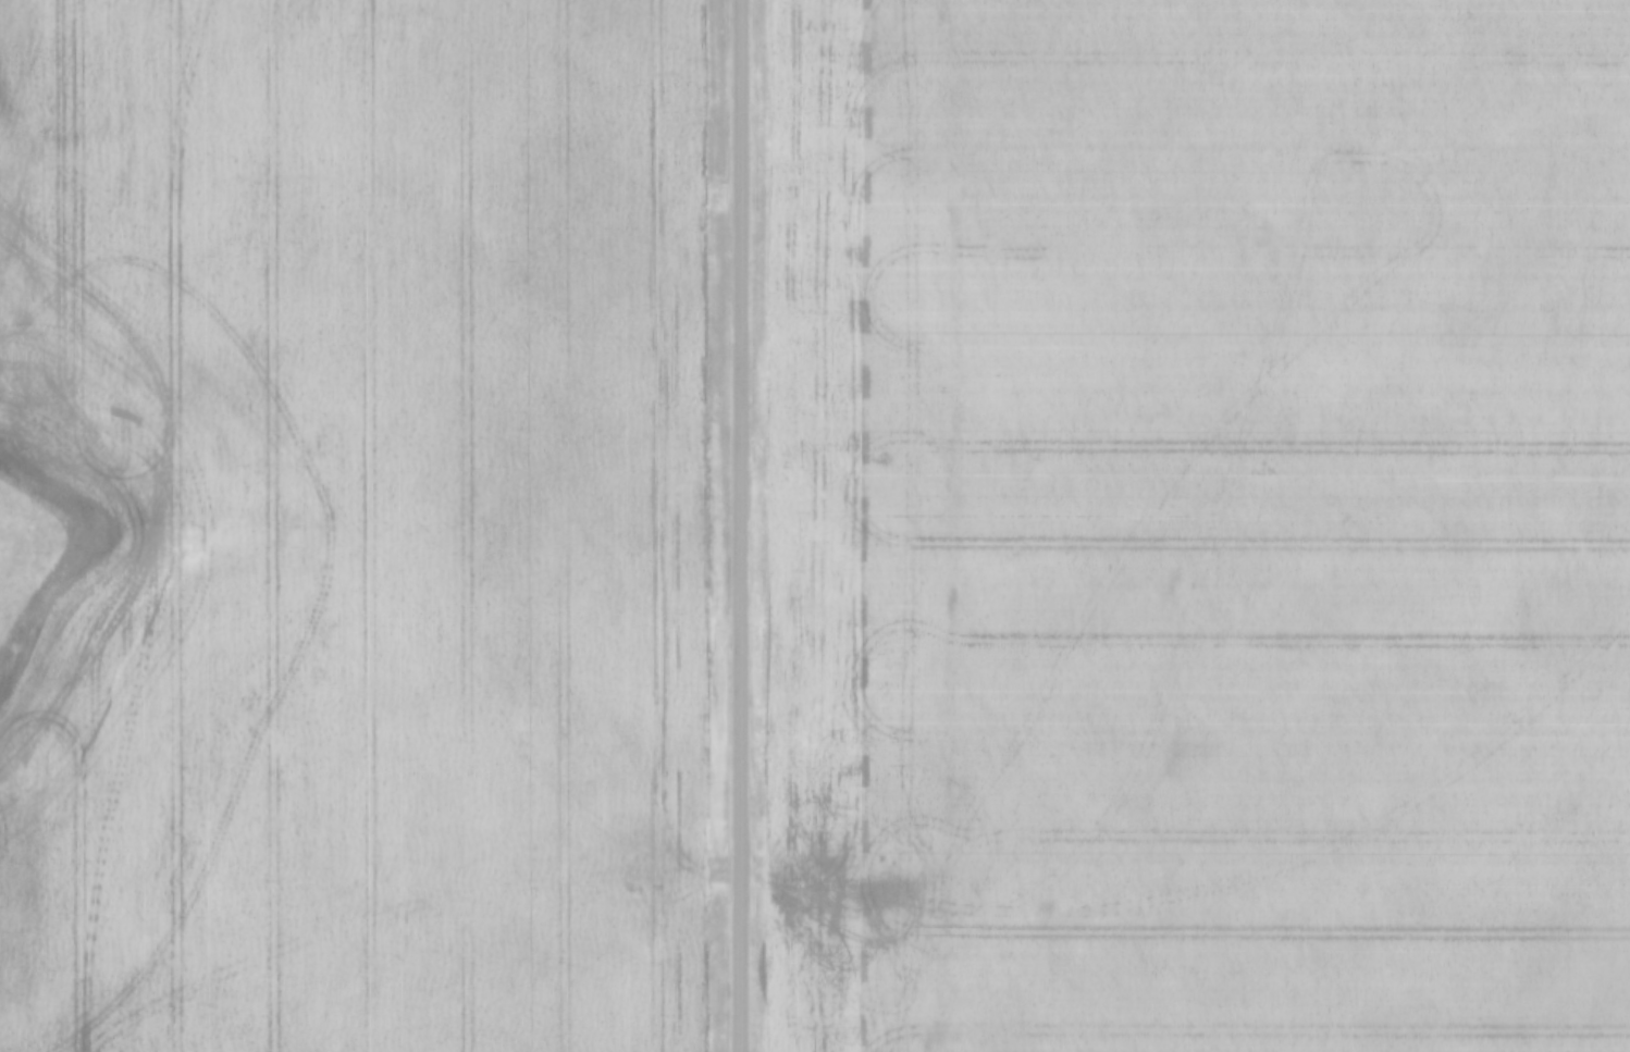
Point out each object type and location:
road: (743, 525)

